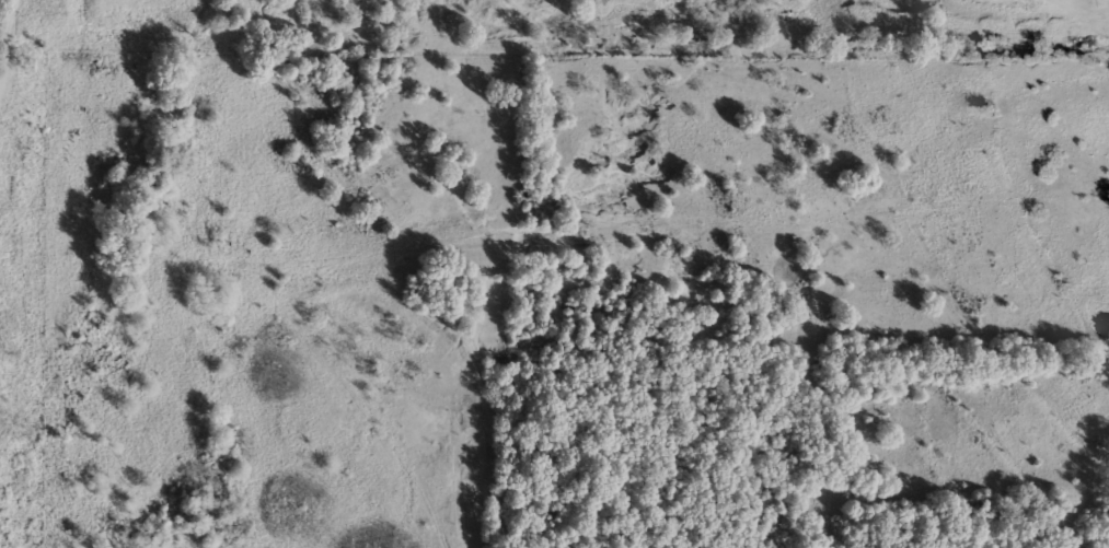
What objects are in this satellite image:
road: (18, 91)

